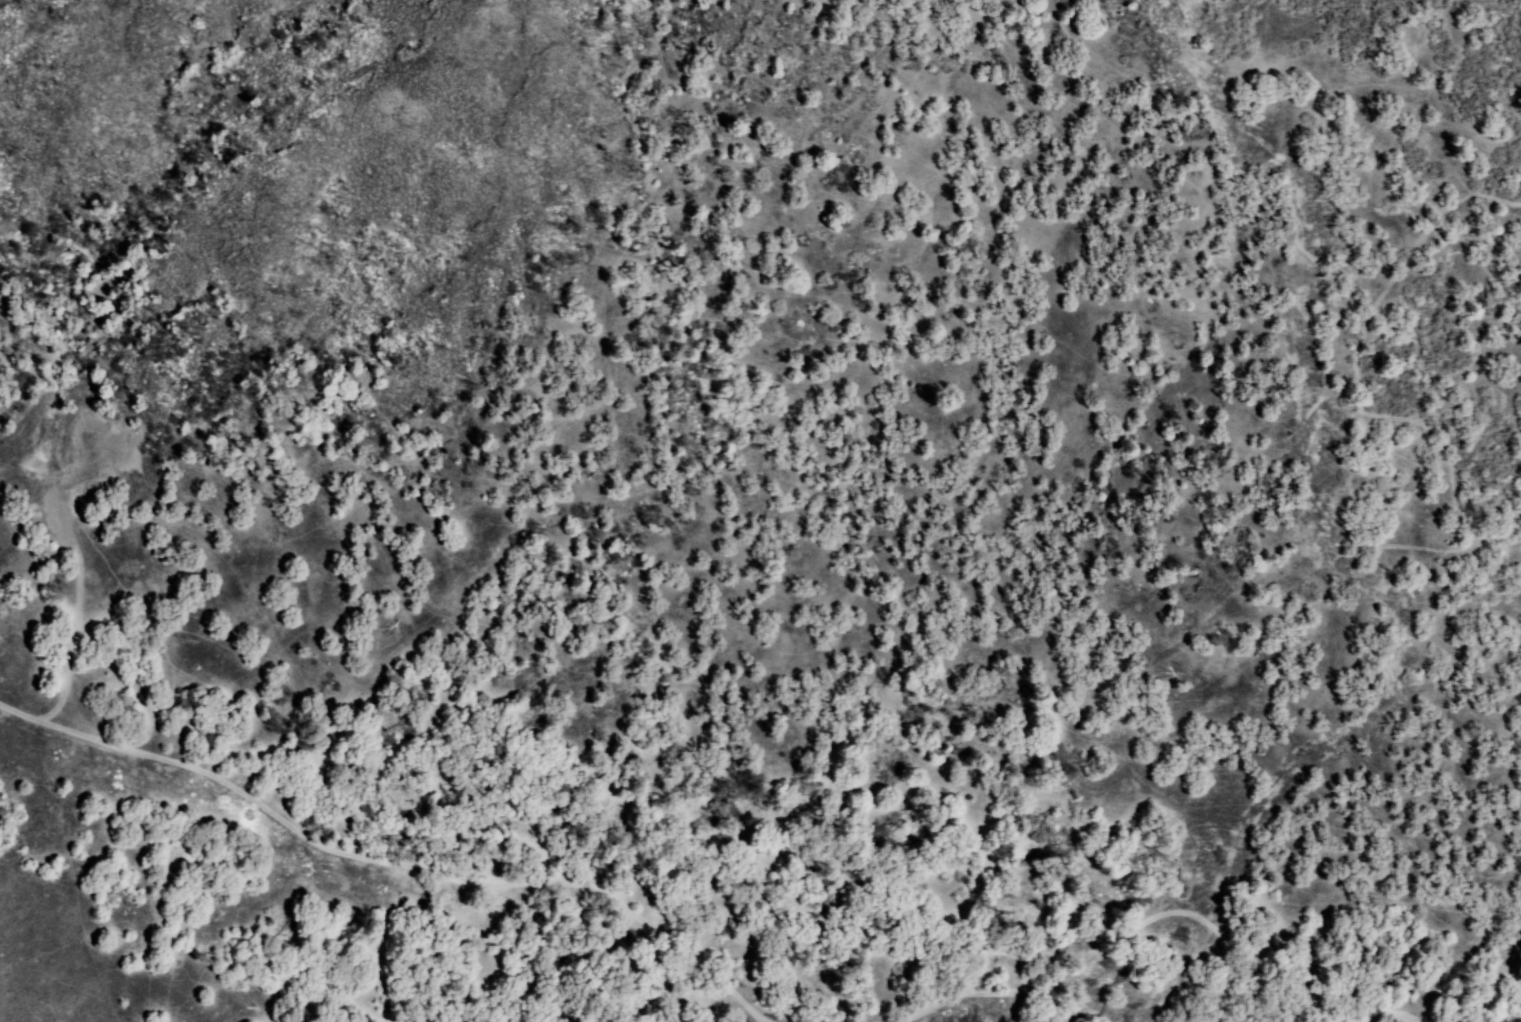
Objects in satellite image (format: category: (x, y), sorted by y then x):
road: (389, 866)
road: (972, 1007)

